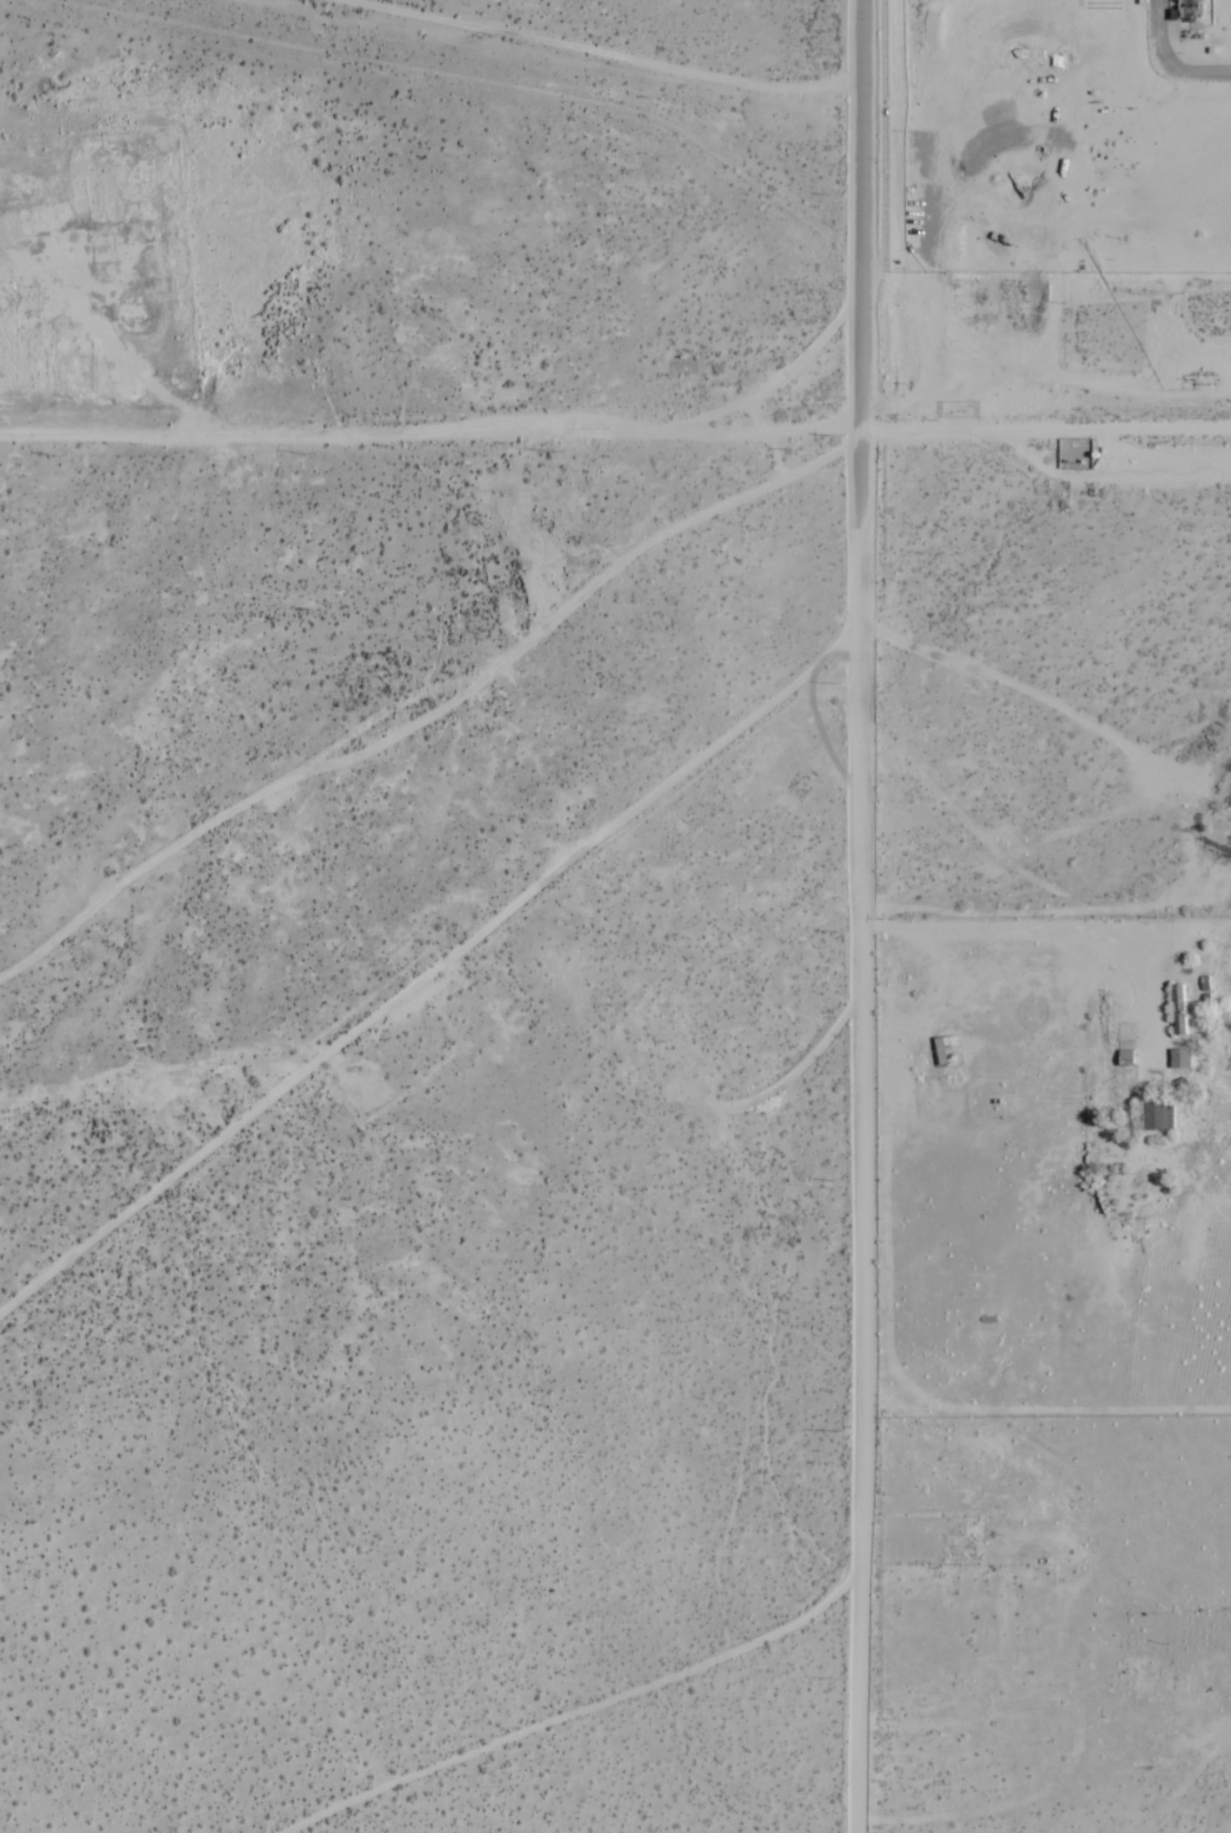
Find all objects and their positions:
road: (1167, 62)
road: (864, 216)
road: (1047, 431)
road: (431, 435)
road: (864, 481)
road: (1067, 931)
building: (1181, 1059)
building: (1161, 1116)
road: (859, 1180)
road: (573, 1710)

